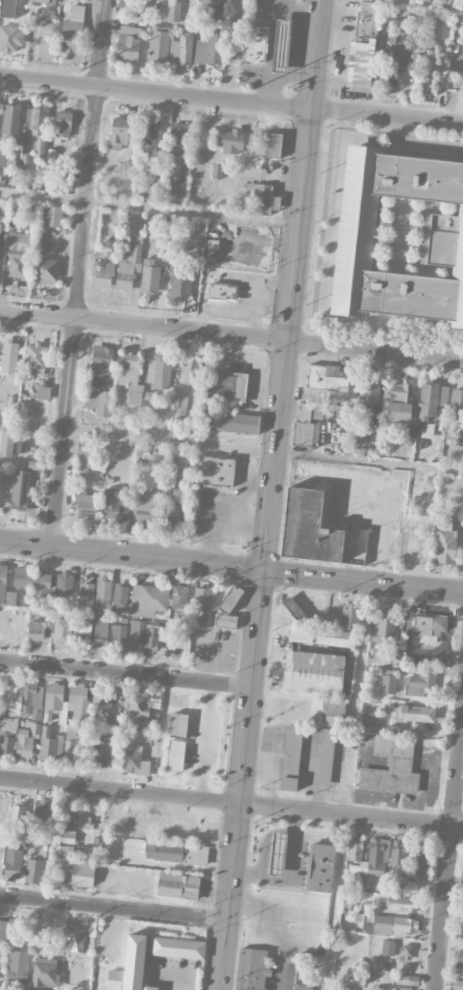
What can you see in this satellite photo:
building: (41, 1)
road: (427, 3)
building: (7, 8)
building: (208, 8)
building: (173, 11)
building: (128, 43)
building: (162, 44)
building: (255, 44)
building: (281, 46)
building: (185, 48)
building: (215, 48)
building: (362, 49)
building: (200, 51)
building: (397, 69)
power tower: (81, 70)
building: (427, 81)
power tower: (250, 89)
road: (231, 99)
building: (1, 108)
building: (11, 119)
building: (63, 123)
building: (37, 131)
building: (119, 134)
building: (177, 137)
building: (148, 138)
building: (11, 139)
building: (232, 141)
building: (270, 145)
building: (50, 156)
building: (127, 167)
road: (306, 169)
building: (146, 190)
road: (43, 195)
building: (259, 197)
building: (52, 216)
building: (196, 236)
building: (442, 239)
building: (19, 241)
building: (1, 250)
building: (129, 263)
building: (17, 265)
building: (44, 270)
road: (80, 274)
building: (103, 275)
building: (149, 276)
building: (181, 282)
building: (221, 291)
road: (144, 325)
road: (376, 349)
building: (10, 356)
building: (34, 362)
building: (102, 365)
building: (158, 371)
building: (189, 371)
building: (131, 376)
building: (327, 377)
building: (227, 388)
building: (44, 392)
building: (369, 395)
building: (456, 399)
building: (430, 400)
building: (99, 401)
building: (398, 401)
building: (180, 405)
building: (232, 422)
building: (306, 426)
building: (358, 432)
building: (406, 434)
building: (6, 443)
road: (231, 448)
building: (217, 471)
building: (2, 489)
building: (20, 489)
building: (85, 505)
building: (113, 506)
building: (144, 508)
building: (172, 515)
building: (316, 531)
building: (412, 539)
building: (446, 543)
road: (231, 567)
traffic signals: (265, 571)
building: (2, 576)
building: (32, 579)
building: (65, 584)
building: (97, 591)
building: (120, 594)
building: (180, 597)
building: (148, 600)
building: (203, 605)
building: (227, 608)
building: (292, 608)
building: (349, 615)
building: (429, 625)
building: (383, 626)
building: (84, 629)
building: (36, 632)
building: (63, 632)
building: (100, 632)
building: (311, 635)
building: (136, 636)
building: (120, 637)
building: (151, 638)
road: (256, 665)
road: (127, 672)
building: (387, 681)
building: (319, 682)
building: (418, 684)
building: (31, 698)
building: (53, 700)
building: (104, 700)
building: (77, 701)
building: (138, 707)
building: (413, 712)
building: (367, 721)
building: (178, 725)
building: (7, 734)
building: (27, 739)
building: (340, 739)
road: (206, 740)
building: (49, 745)
building: (71, 745)
building: (102, 751)
building: (175, 755)
building: (291, 757)
building: (326, 757)
building: (135, 761)
building: (391, 767)
road: (231, 802)
building: (42, 807)
building: (66, 811)
building: (18, 818)
building: (64, 836)
building: (176, 853)
building: (277, 854)
road: (449, 856)
building: (373, 860)
building: (12, 864)
building: (72, 864)
building: (417, 864)
building: (321, 867)
building: (33, 871)
road: (290, 872)
building: (178, 886)
building: (399, 904)
road: (115, 906)
road: (273, 908)
building: (386, 924)
building: (75, 942)
road: (452, 942)
building: (1, 944)
building: (177, 947)
building: (387, 947)
building: (405, 951)
building: (459, 960)
building: (17, 966)
building: (130, 966)
road: (280, 966)
building: (250, 969)
building: (45, 970)
building: (74, 973)
building: (406, 979)
building: (457, 985)
building: (302, 987)
building: (343, 988)
building: (373, 988)

